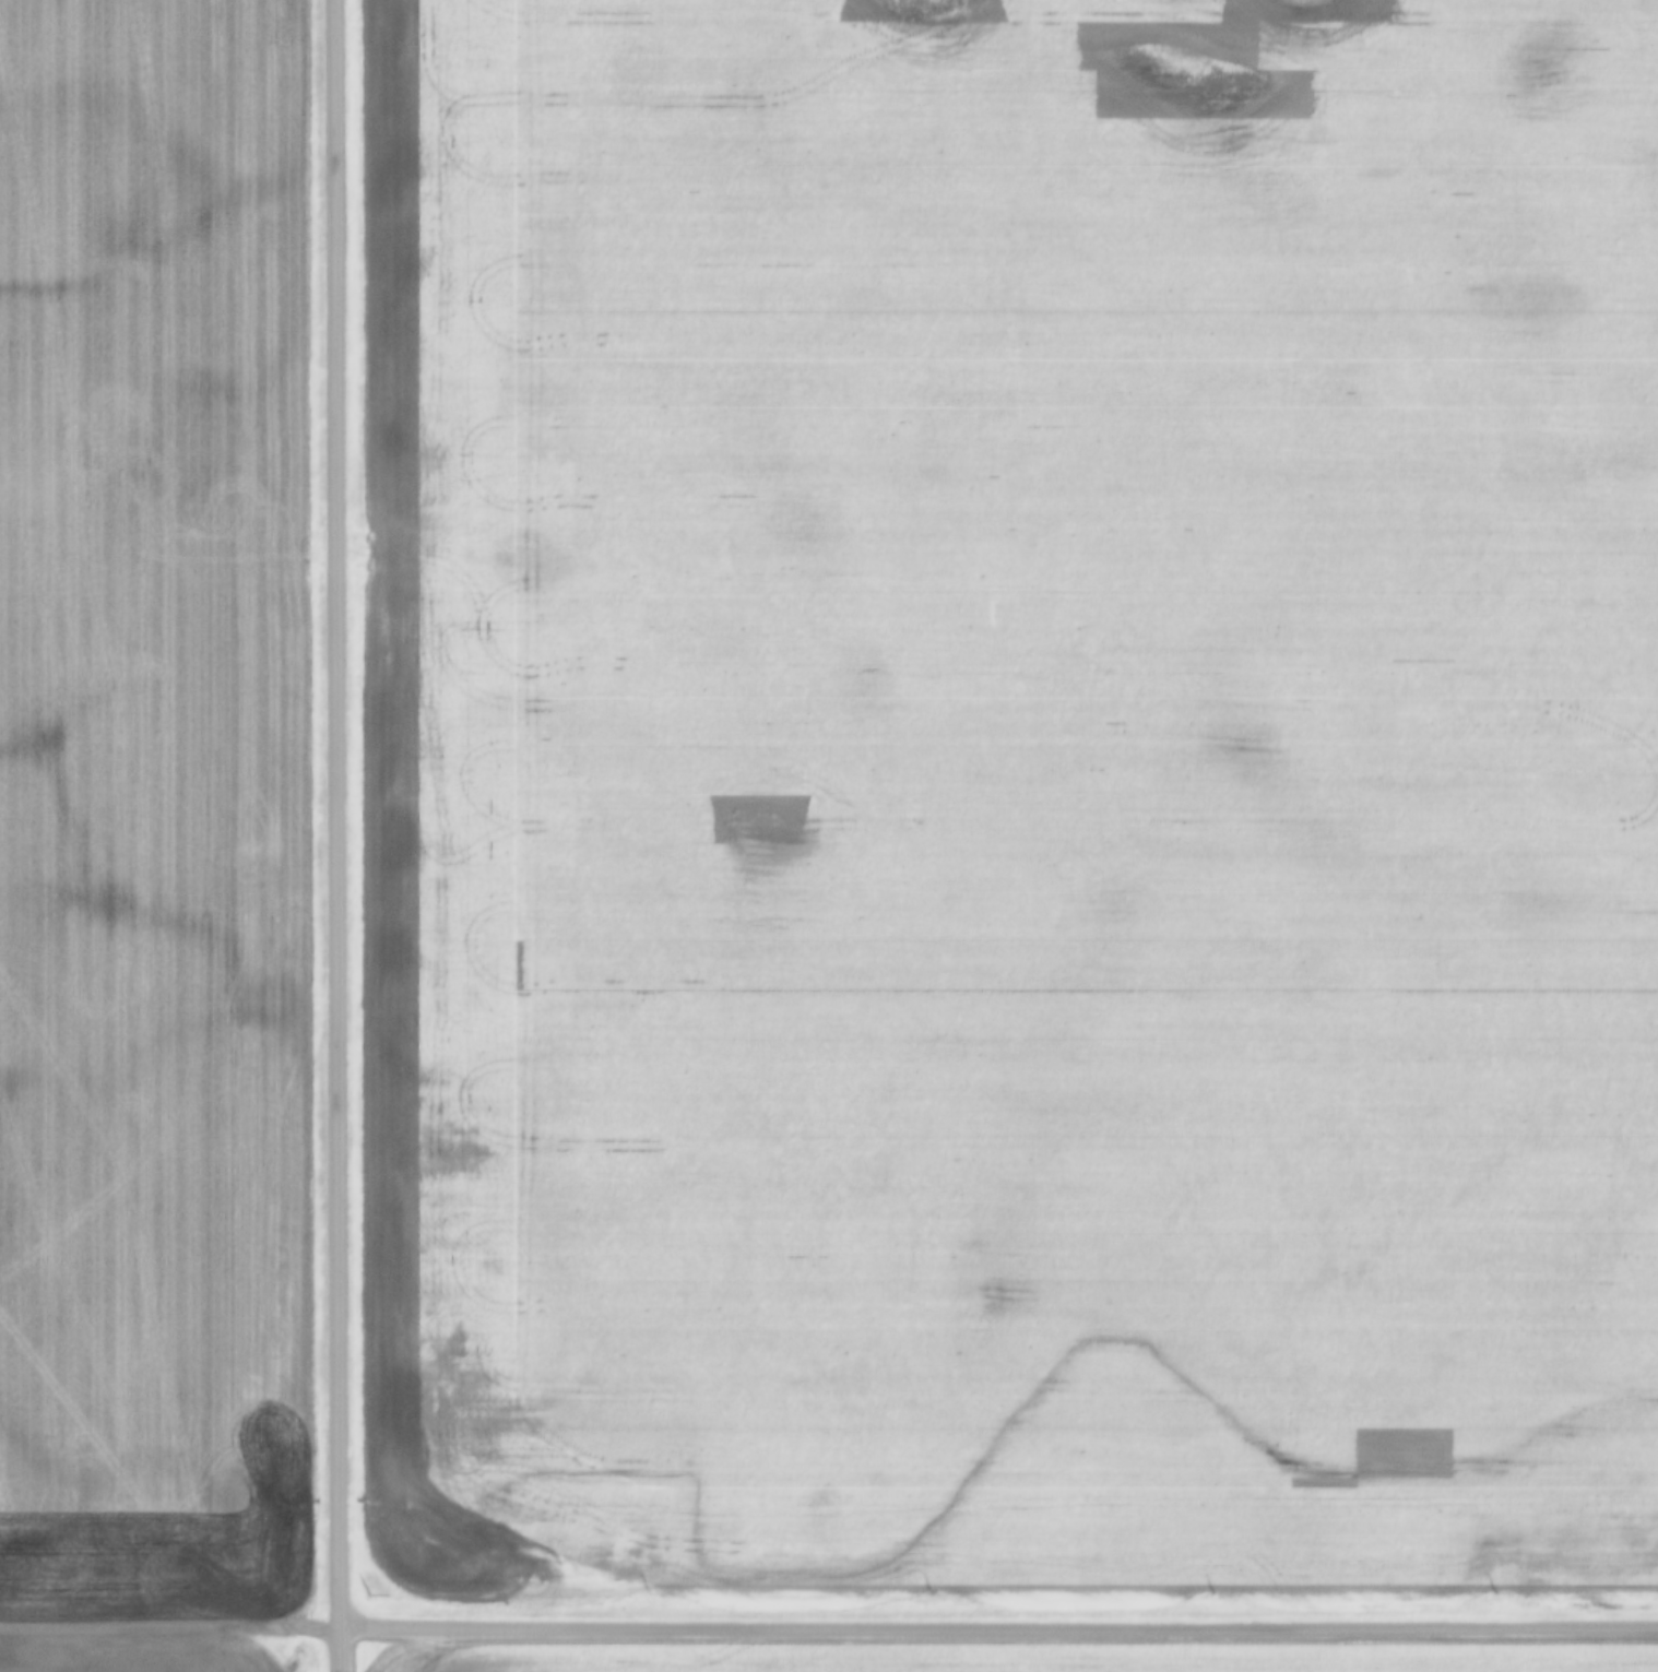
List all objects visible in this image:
road: (340, 835)
road: (999, 1626)
road: (170, 1629)

